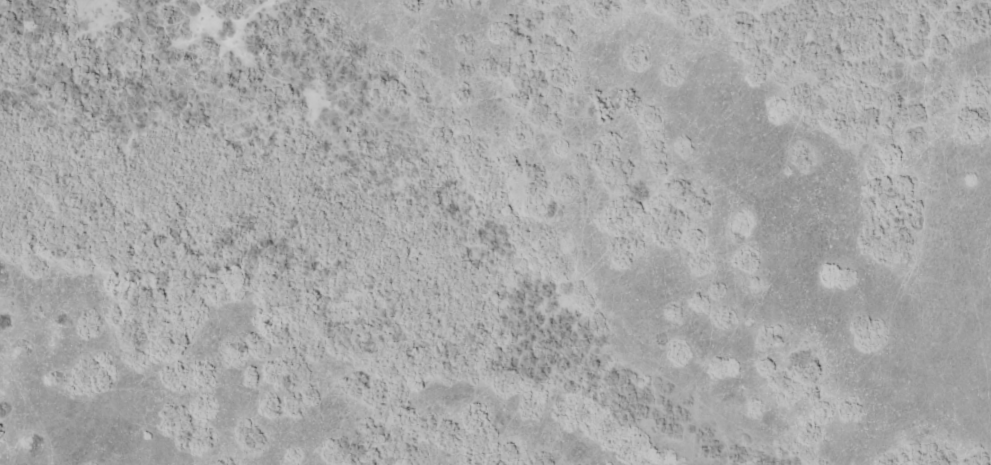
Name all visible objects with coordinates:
road: (10, 24)
road: (37, 381)

